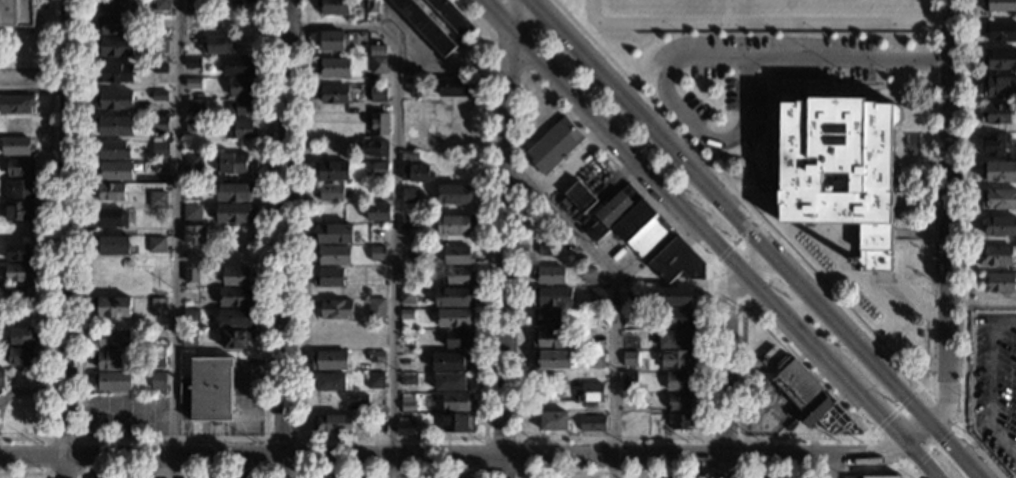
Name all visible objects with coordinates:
building: (161, 5)
building: (999, 5)
building: (113, 6)
building: (372, 6)
building: (333, 7)
building: (17, 13)
building: (452, 16)
road: (763, 21)
building: (113, 25)
building: (424, 26)
building: (1000, 31)
building: (331, 41)
building: (160, 45)
building: (218, 45)
building: (113, 47)
road: (506, 51)
building: (379, 52)
road: (708, 56)
building: (1000, 60)
building: (193, 63)
building: (378, 65)
building: (239, 66)
building: (333, 67)
building: (159, 68)
building: (113, 73)
building: (192, 83)
building: (410, 85)
road: (792, 86)
building: (242, 87)
building: (454, 87)
building: (999, 87)
road: (35, 88)
building: (332, 94)
building: (377, 94)
building: (159, 96)
building: (113, 100)
building: (16, 104)
building: (194, 106)
building: (241, 107)
building: (997, 114)
building: (378, 124)
building: (159, 125)
building: (192, 125)
building: (16, 126)
building: (114, 126)
building: (240, 129)
building: (554, 145)
building: (994, 145)
building: (16, 147)
building: (159, 149)
building: (111, 150)
building: (375, 150)
building: (409, 156)
building: (193, 160)
road: (767, 161)
building: (231, 163)
building: (160, 167)
building: (19, 168)
building: (379, 169)
building: (841, 170)
building: (330, 171)
building: (112, 172)
building: (1000, 172)
building: (416, 173)
road: (655, 187)
building: (19, 189)
building: (109, 192)
building: (192, 192)
building: (234, 192)
building: (331, 193)
building: (454, 194)
road: (753, 194)
building: (410, 195)
building: (580, 197)
building: (157, 199)
building: (998, 199)
road: (396, 204)
road: (735, 210)
building: (19, 211)
building: (191, 212)
building: (376, 212)
building: (611, 212)
building: (234, 213)
road: (947, 215)
building: (110, 218)
road: (711, 222)
building: (409, 223)
building: (455, 224)
building: (999, 226)
road: (507, 227)
building: (641, 228)
road: (69, 229)
building: (333, 234)
building: (194, 235)
road: (287, 238)
road: (176, 239)
road: (48, 241)
building: (111, 245)
building: (155, 245)
road: (964, 245)
building: (548, 246)
building: (191, 251)
building: (17, 252)
building: (377, 253)
building: (239, 255)
building: (333, 255)
building: (458, 255)
building: (996, 256)
building: (578, 261)
building: (677, 262)
building: (20, 273)
building: (191, 275)
building: (456, 275)
building: (549, 275)
building: (587, 275)
building: (238, 276)
building: (329, 277)
building: (997, 282)
building: (407, 283)
road: (727, 283)
building: (368, 292)
building: (18, 293)
building: (888, 293)
building: (597, 295)
building: (191, 296)
building: (407, 296)
building: (675, 296)
building: (236, 297)
building: (454, 297)
building: (553, 297)
road: (520, 298)
road: (615, 301)
building: (158, 306)
building: (112, 307)
building: (376, 308)
building: (335, 309)
building: (407, 314)
building: (599, 314)
building: (191, 316)
building: (630, 317)
building: (237, 318)
building: (454, 318)
building: (546, 318)
building: (679, 318)
building: (920, 334)
building: (158, 336)
building: (21, 337)
building: (597, 337)
building: (189, 338)
road: (876, 338)
building: (112, 339)
building: (235, 339)
building: (460, 339)
building: (546, 339)
building: (675, 340)
road: (726, 346)
building: (18, 356)
building: (377, 357)
building: (157, 359)
building: (630, 359)
building: (551, 360)
building: (596, 360)
building: (677, 360)
building: (112, 361)
building: (329, 361)
building: (451, 362)
road: (806, 365)
building: (157, 378)
building: (2, 379)
building: (408, 379)
road: (991, 379)
building: (375, 380)
building: (112, 381)
building: (330, 381)
building: (450, 382)
building: (629, 382)
building: (680, 382)
parking lot: (994, 382)
building: (797, 384)
building: (208, 390)
building: (591, 392)
building: (355, 401)
building: (458, 402)
building: (680, 402)
building: (408, 403)
road: (867, 410)
road: (945, 410)
road: (899, 415)
building: (828, 416)
building: (553, 421)
building: (457, 422)
building: (680, 422)
building: (593, 423)
building: (331, 424)
building: (405, 426)
road: (398, 437)
road: (741, 437)
road: (918, 437)
road: (80, 438)
road: (172, 438)
road: (265, 438)
road: (955, 452)
road: (963, 453)
road: (887, 454)
road: (704, 455)
road: (33, 457)
road: (285, 457)
road: (917, 463)
road: (834, 466)
road: (67, 468)
road: (504, 468)
road: (518, 471)
road: (25, 472)
road: (392, 472)
road: (611, 472)
road: (824, 472)
road: (171, 473)
building: (104, 477)
building: (230, 477)
building: (466, 477)
building: (667, 477)
building: (768, 477)
building: (850, 477)
building: (881, 477)

